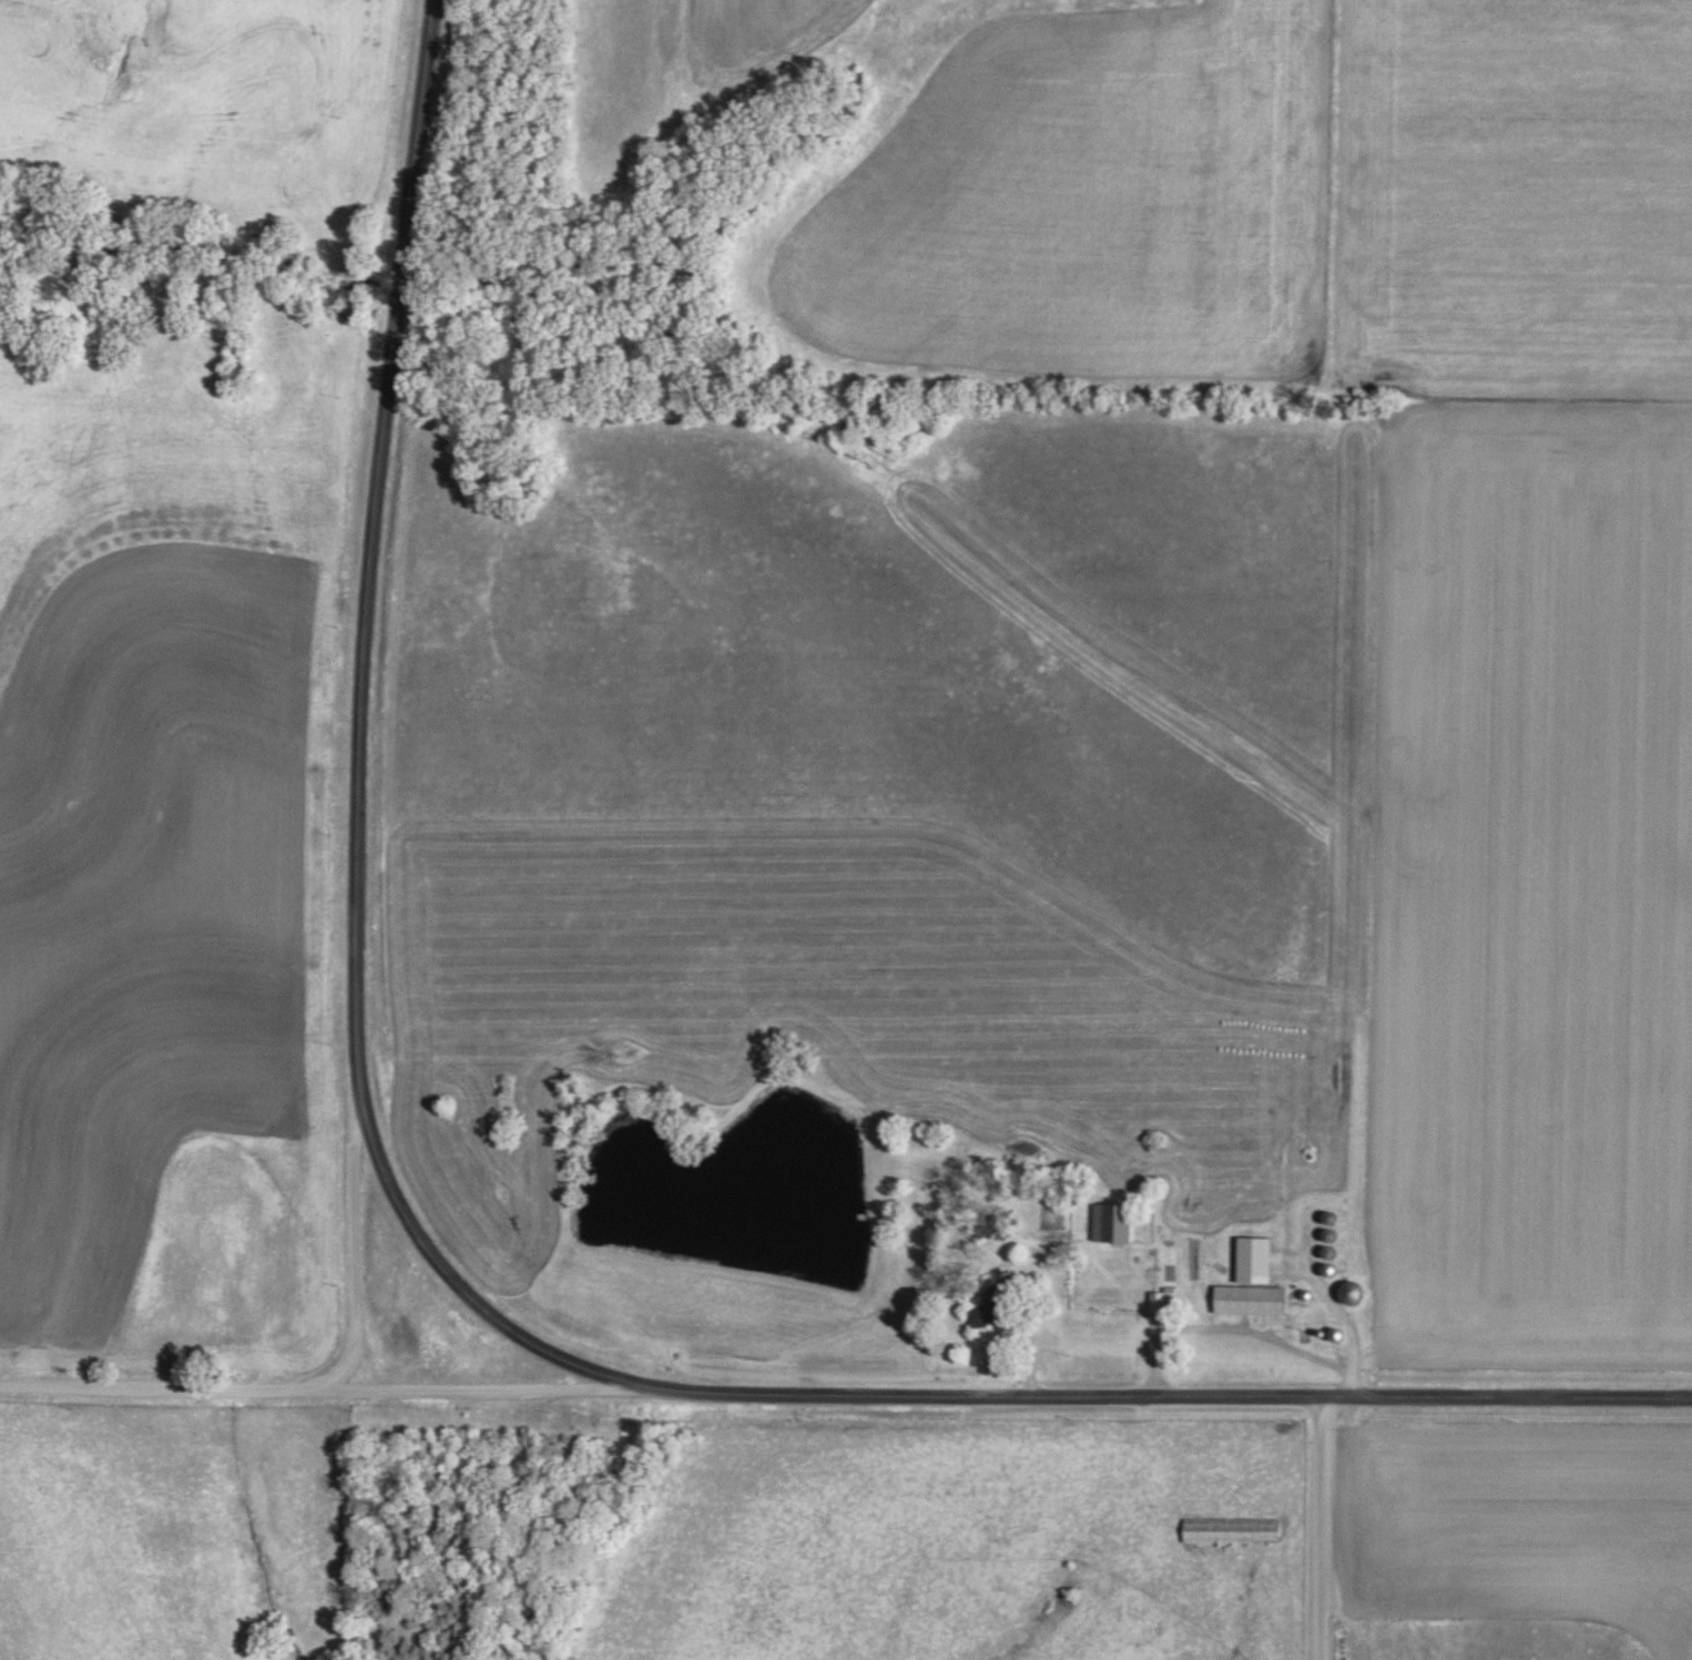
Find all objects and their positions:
building: (1112, 1223)
building: (1253, 1260)
road: (441, 1262)
building: (1349, 1293)
building: (1248, 1300)
building: (1162, 1301)
building: (993, 1308)
road: (1031, 1330)
road: (1240, 1330)
road: (302, 1389)
road: (479, 1389)
road: (1323, 1528)
building: (1231, 1530)

